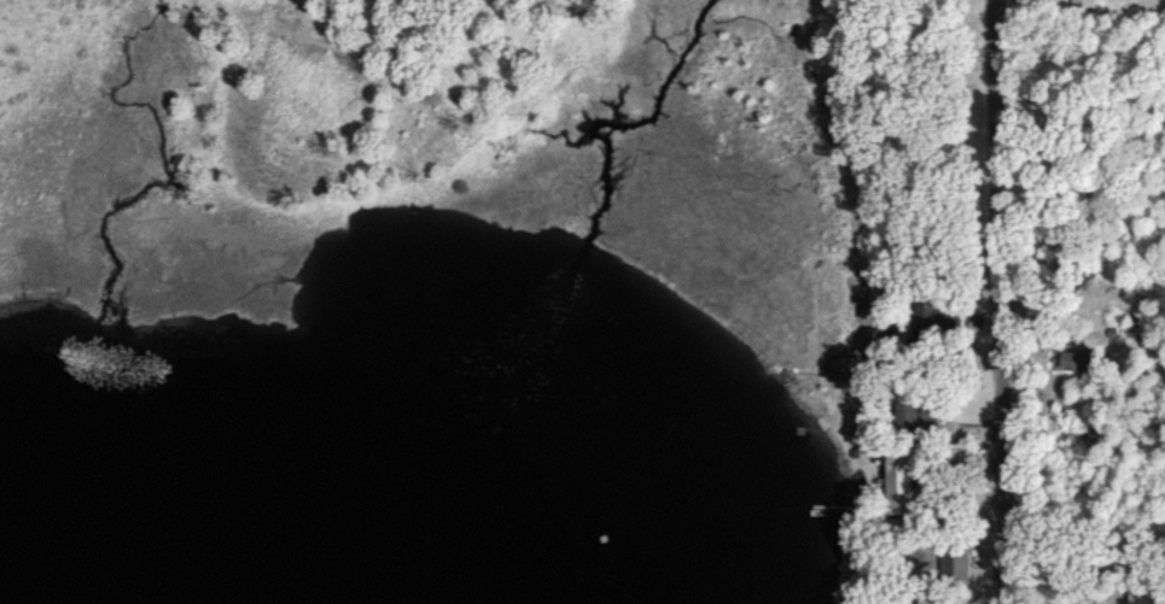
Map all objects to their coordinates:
building: (1079, 4)
road: (1000, 301)
building: (936, 321)
building: (1070, 359)
building: (913, 407)
building: (895, 480)
building: (953, 563)

